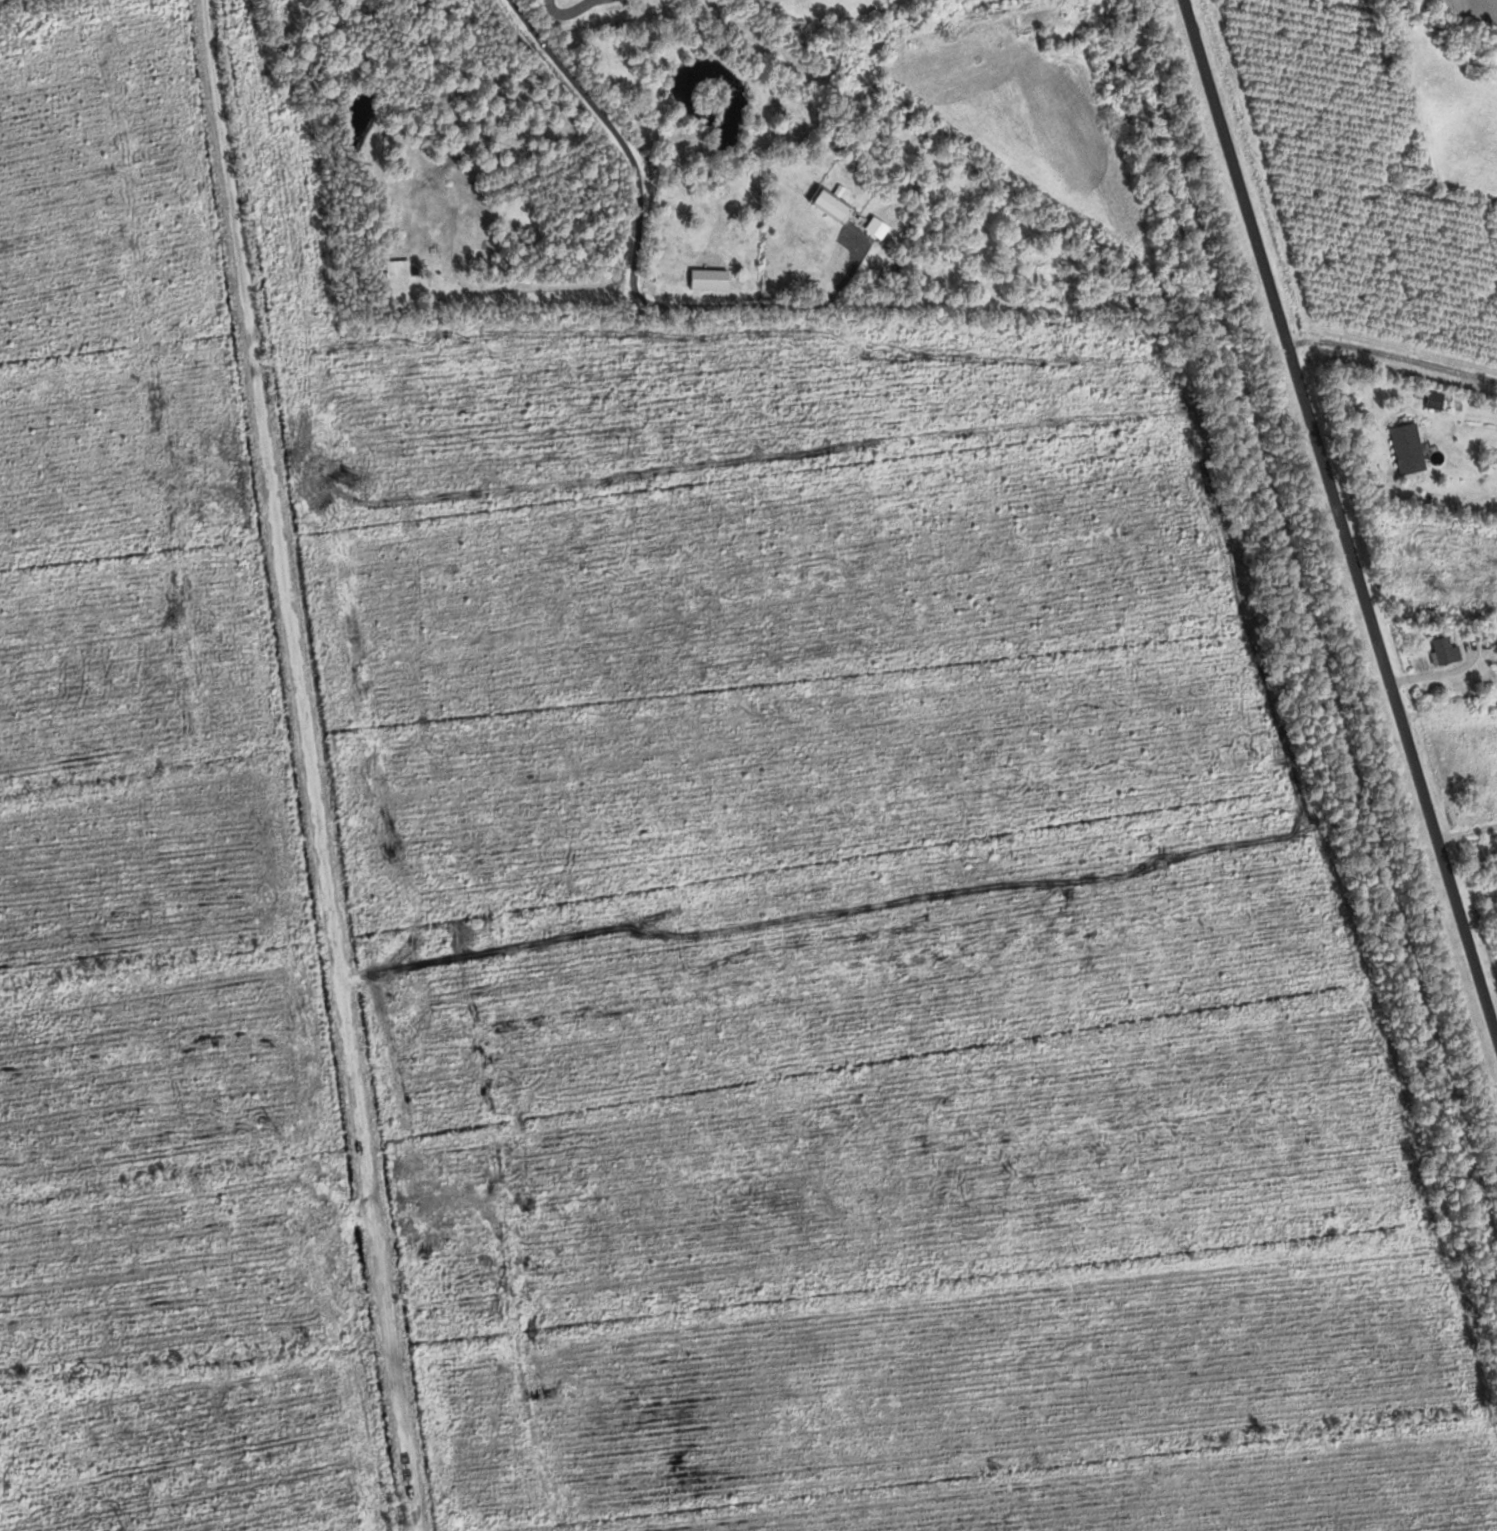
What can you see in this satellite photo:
building: (835, 206)
building: (402, 268)
road: (1389, 354)
building: (1437, 400)
building: (1411, 448)
road: (1335, 518)
building: (1447, 649)
road: (40, 691)
road: (334, 765)

